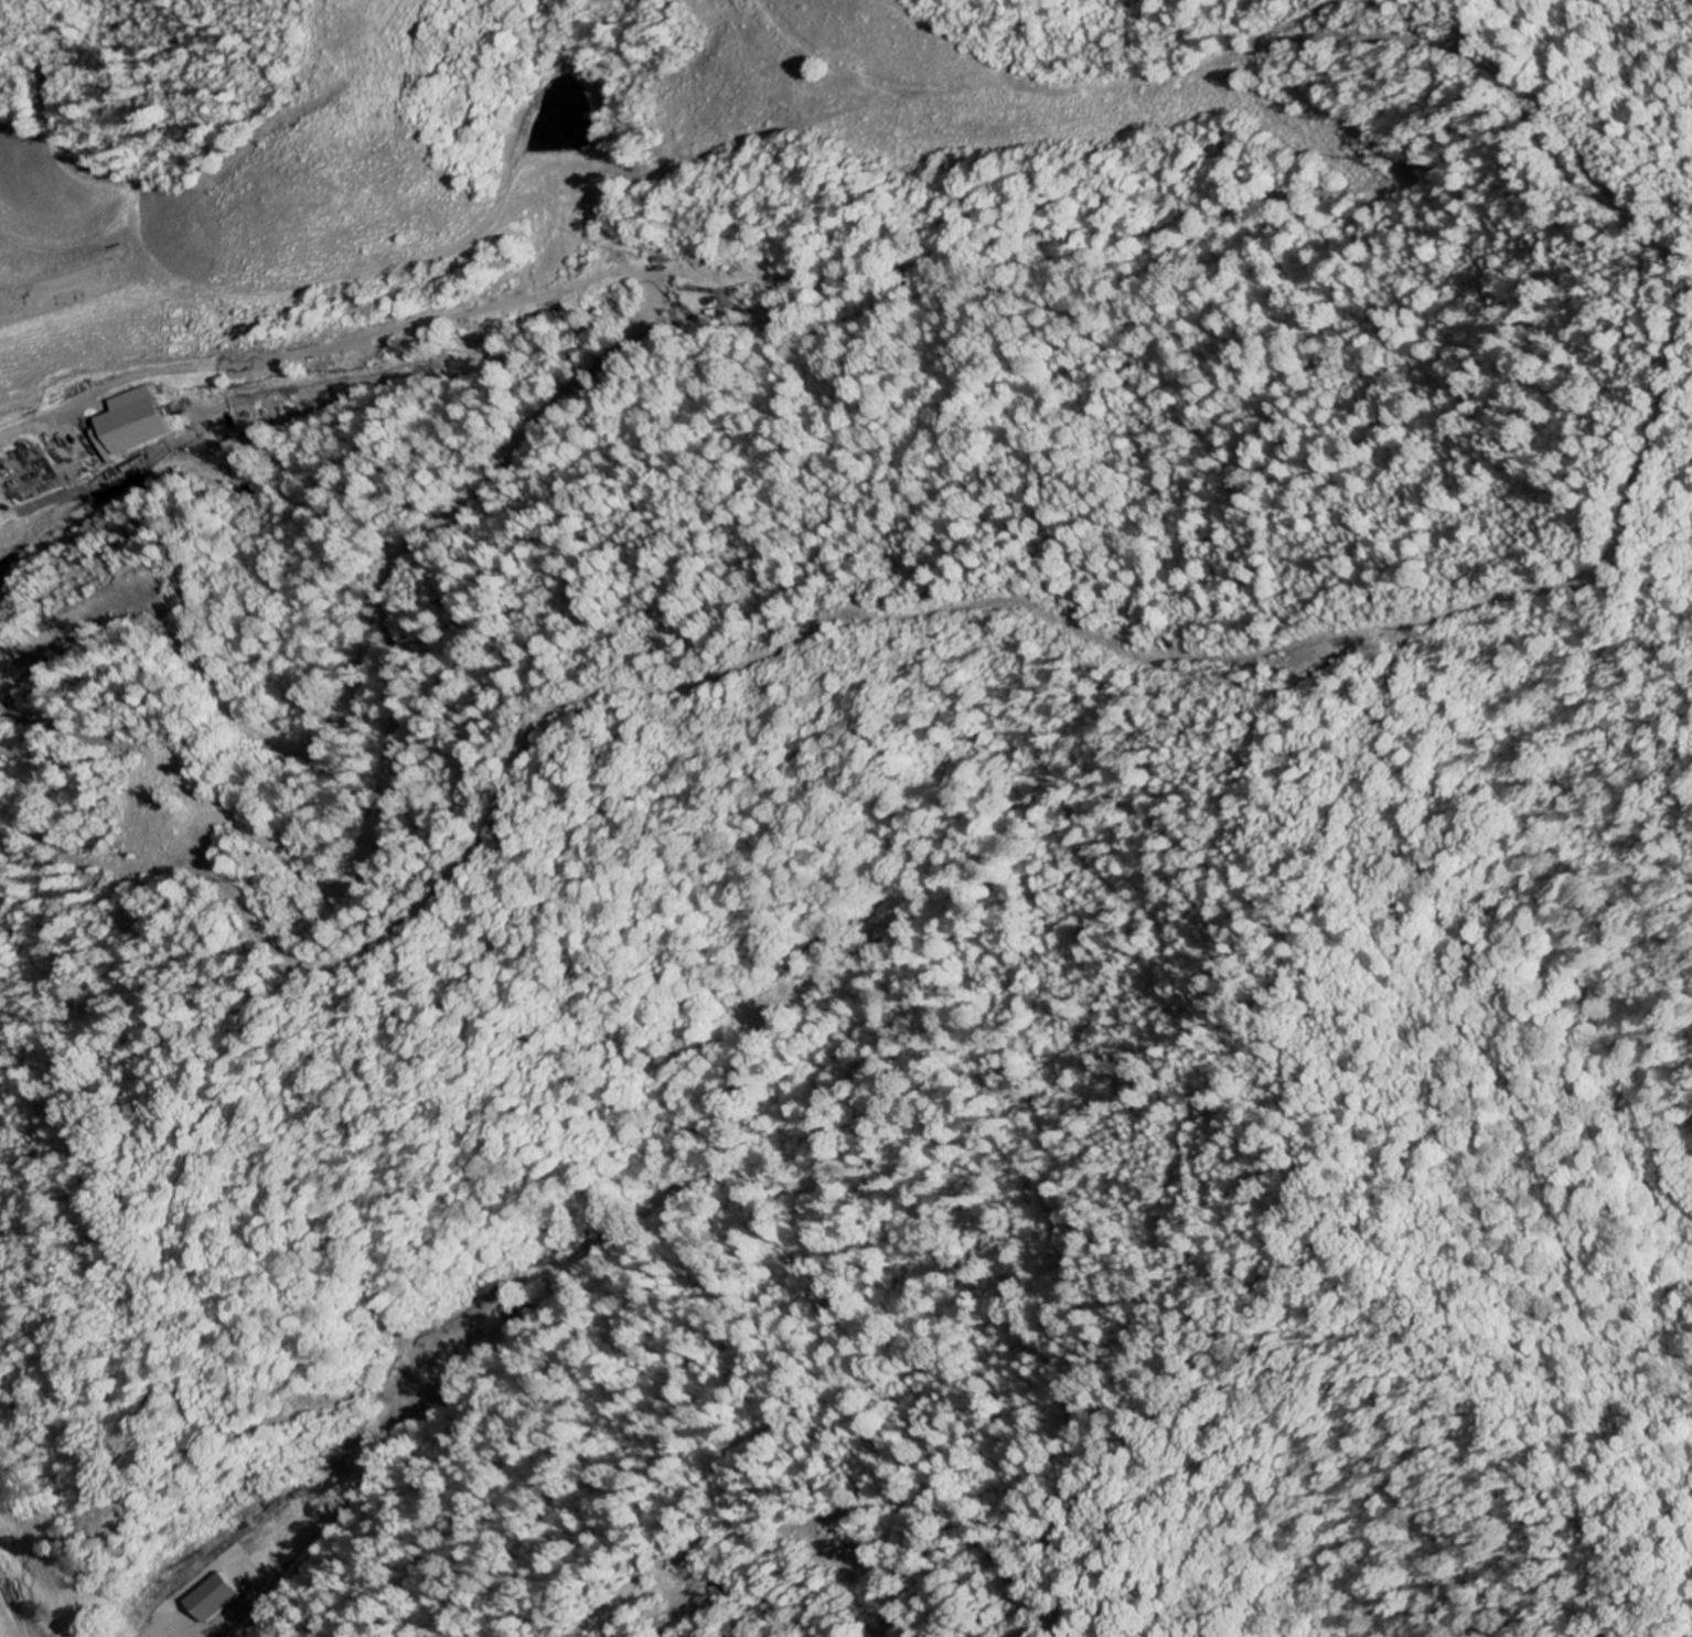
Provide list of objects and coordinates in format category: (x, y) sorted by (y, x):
building: (129, 426)
building: (205, 1599)

